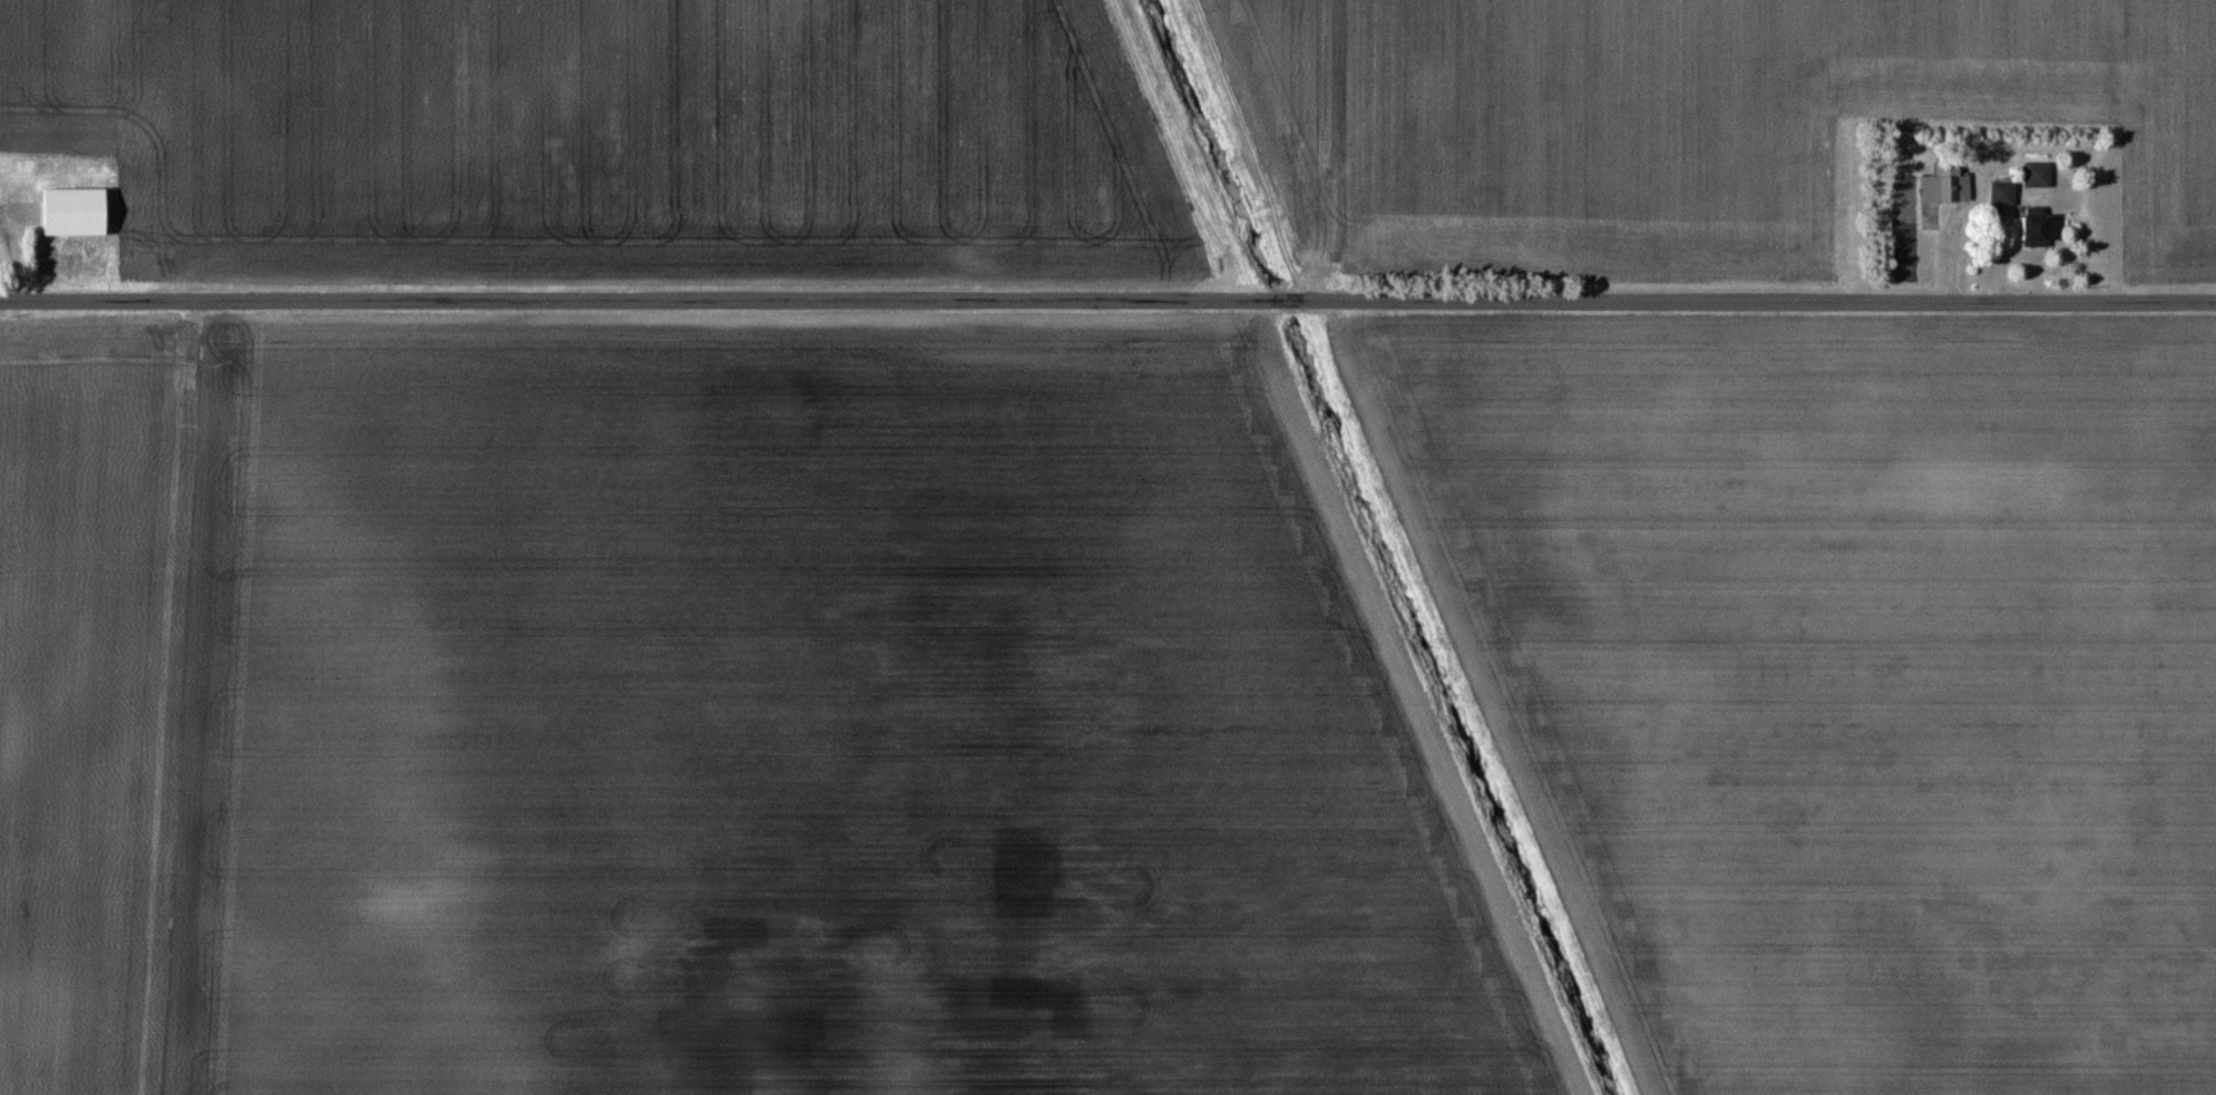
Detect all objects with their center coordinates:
building: (2033, 175)
building: (1942, 188)
building: (1999, 193)
building: (2030, 227)
building: (68, 243)
road: (1107, 299)

